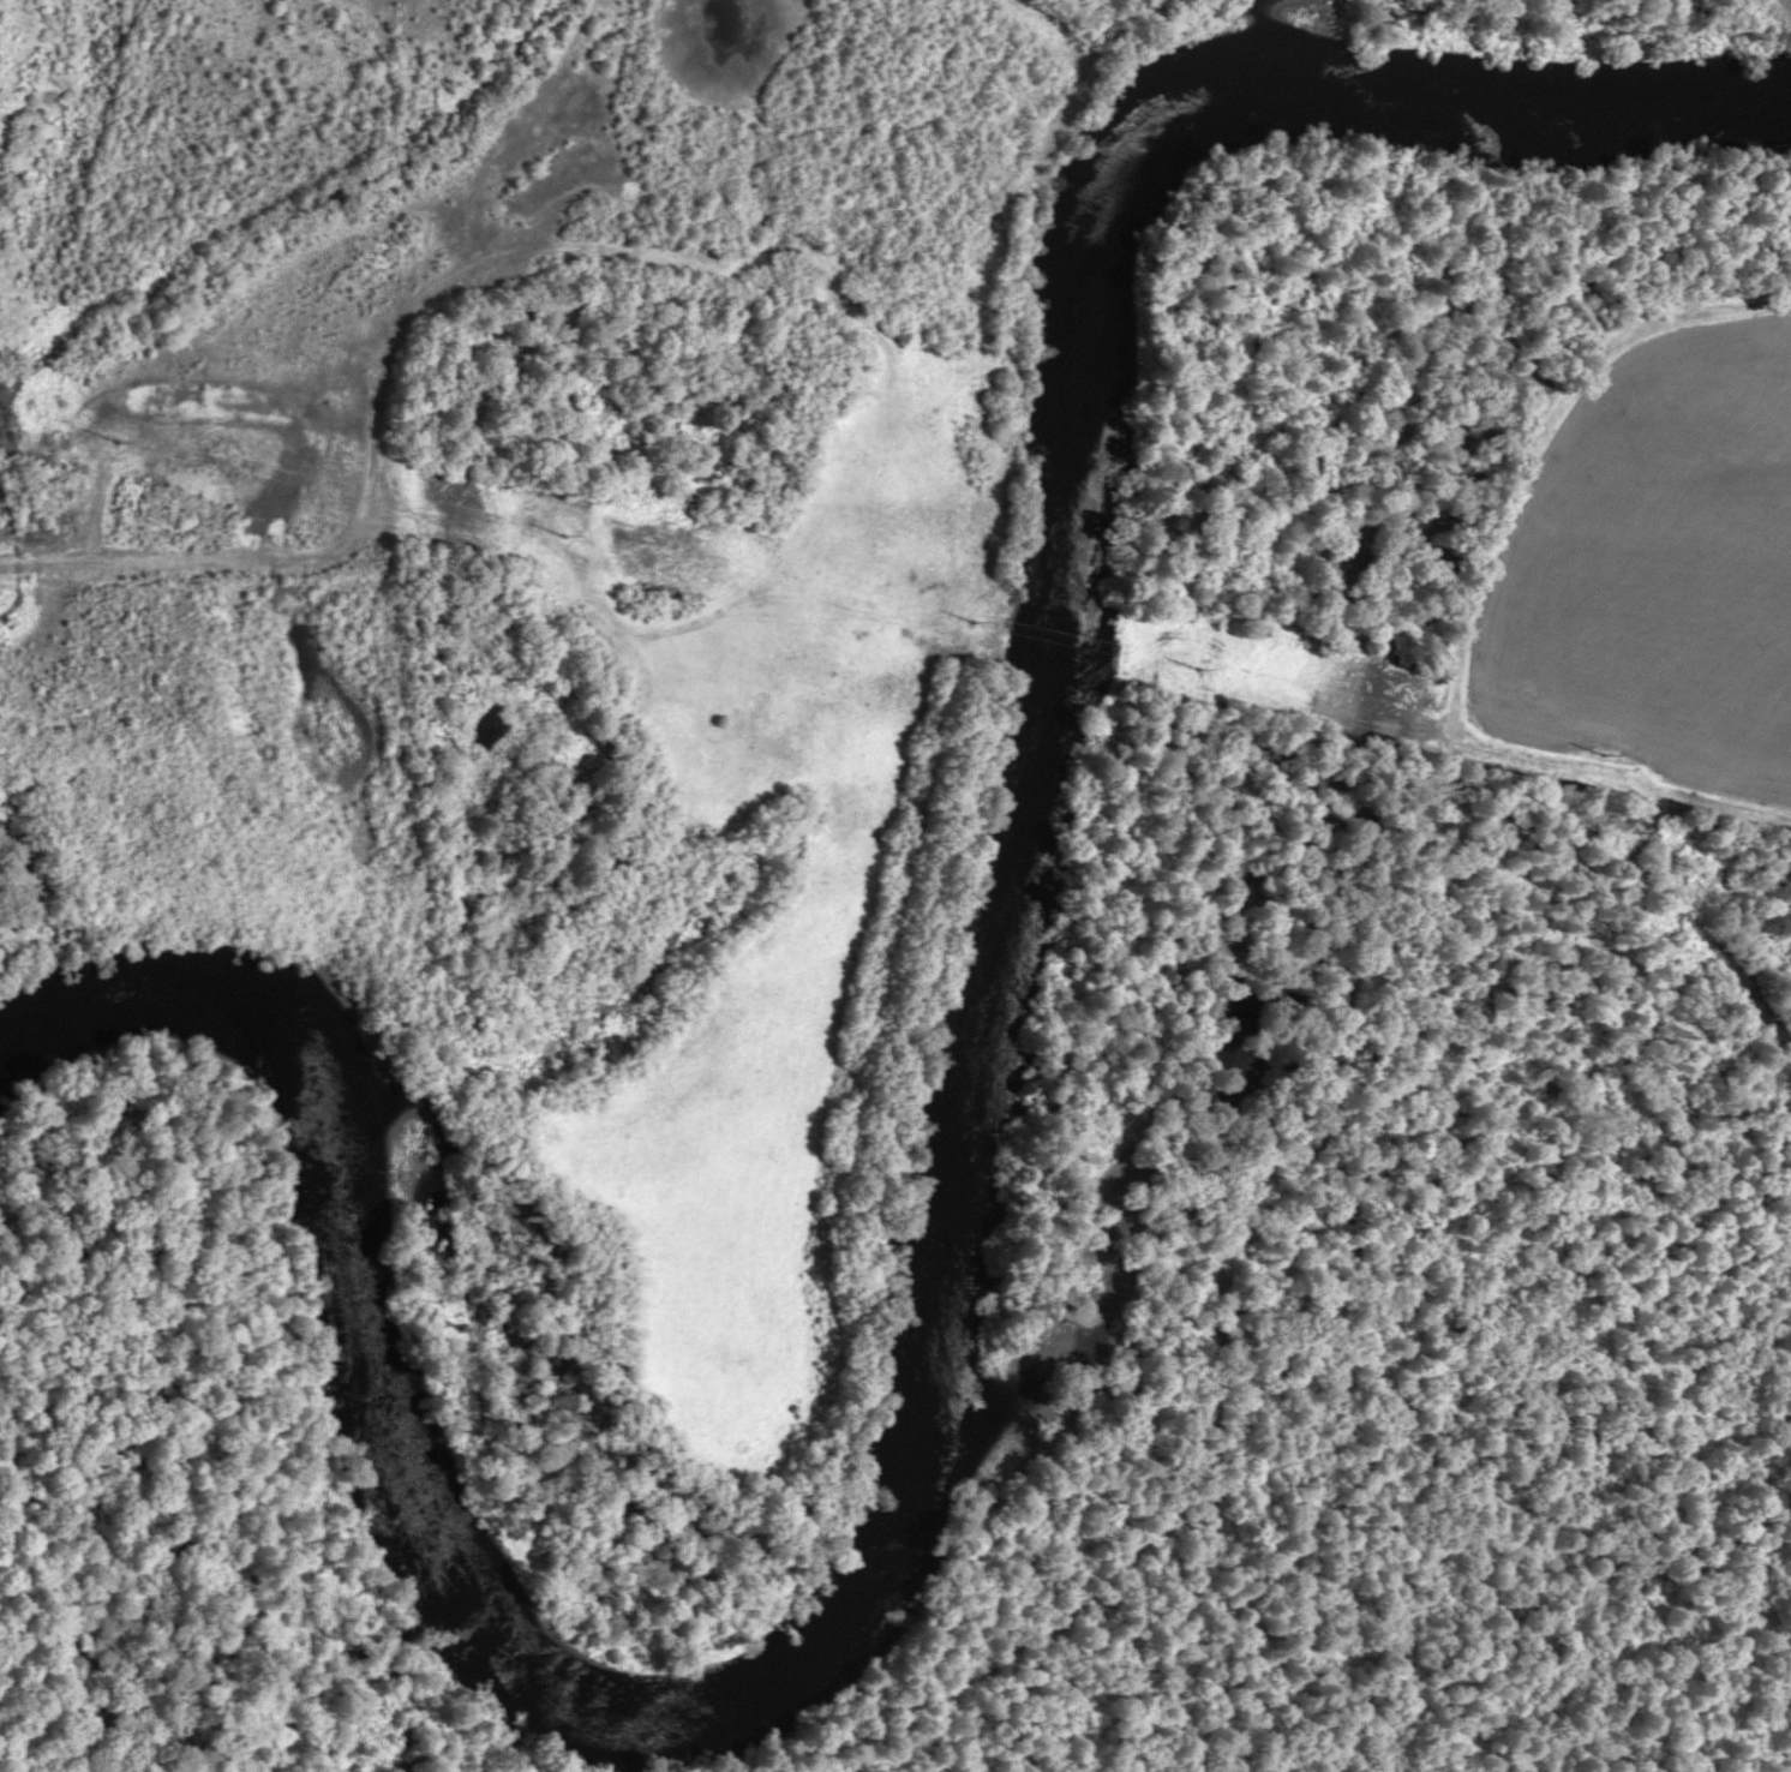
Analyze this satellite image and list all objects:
power tower: (122, 429)
power tower: (569, 528)
power tower: (976, 605)
power tower: (1200, 657)
power tower: (1607, 744)
river: (947, 1191)

